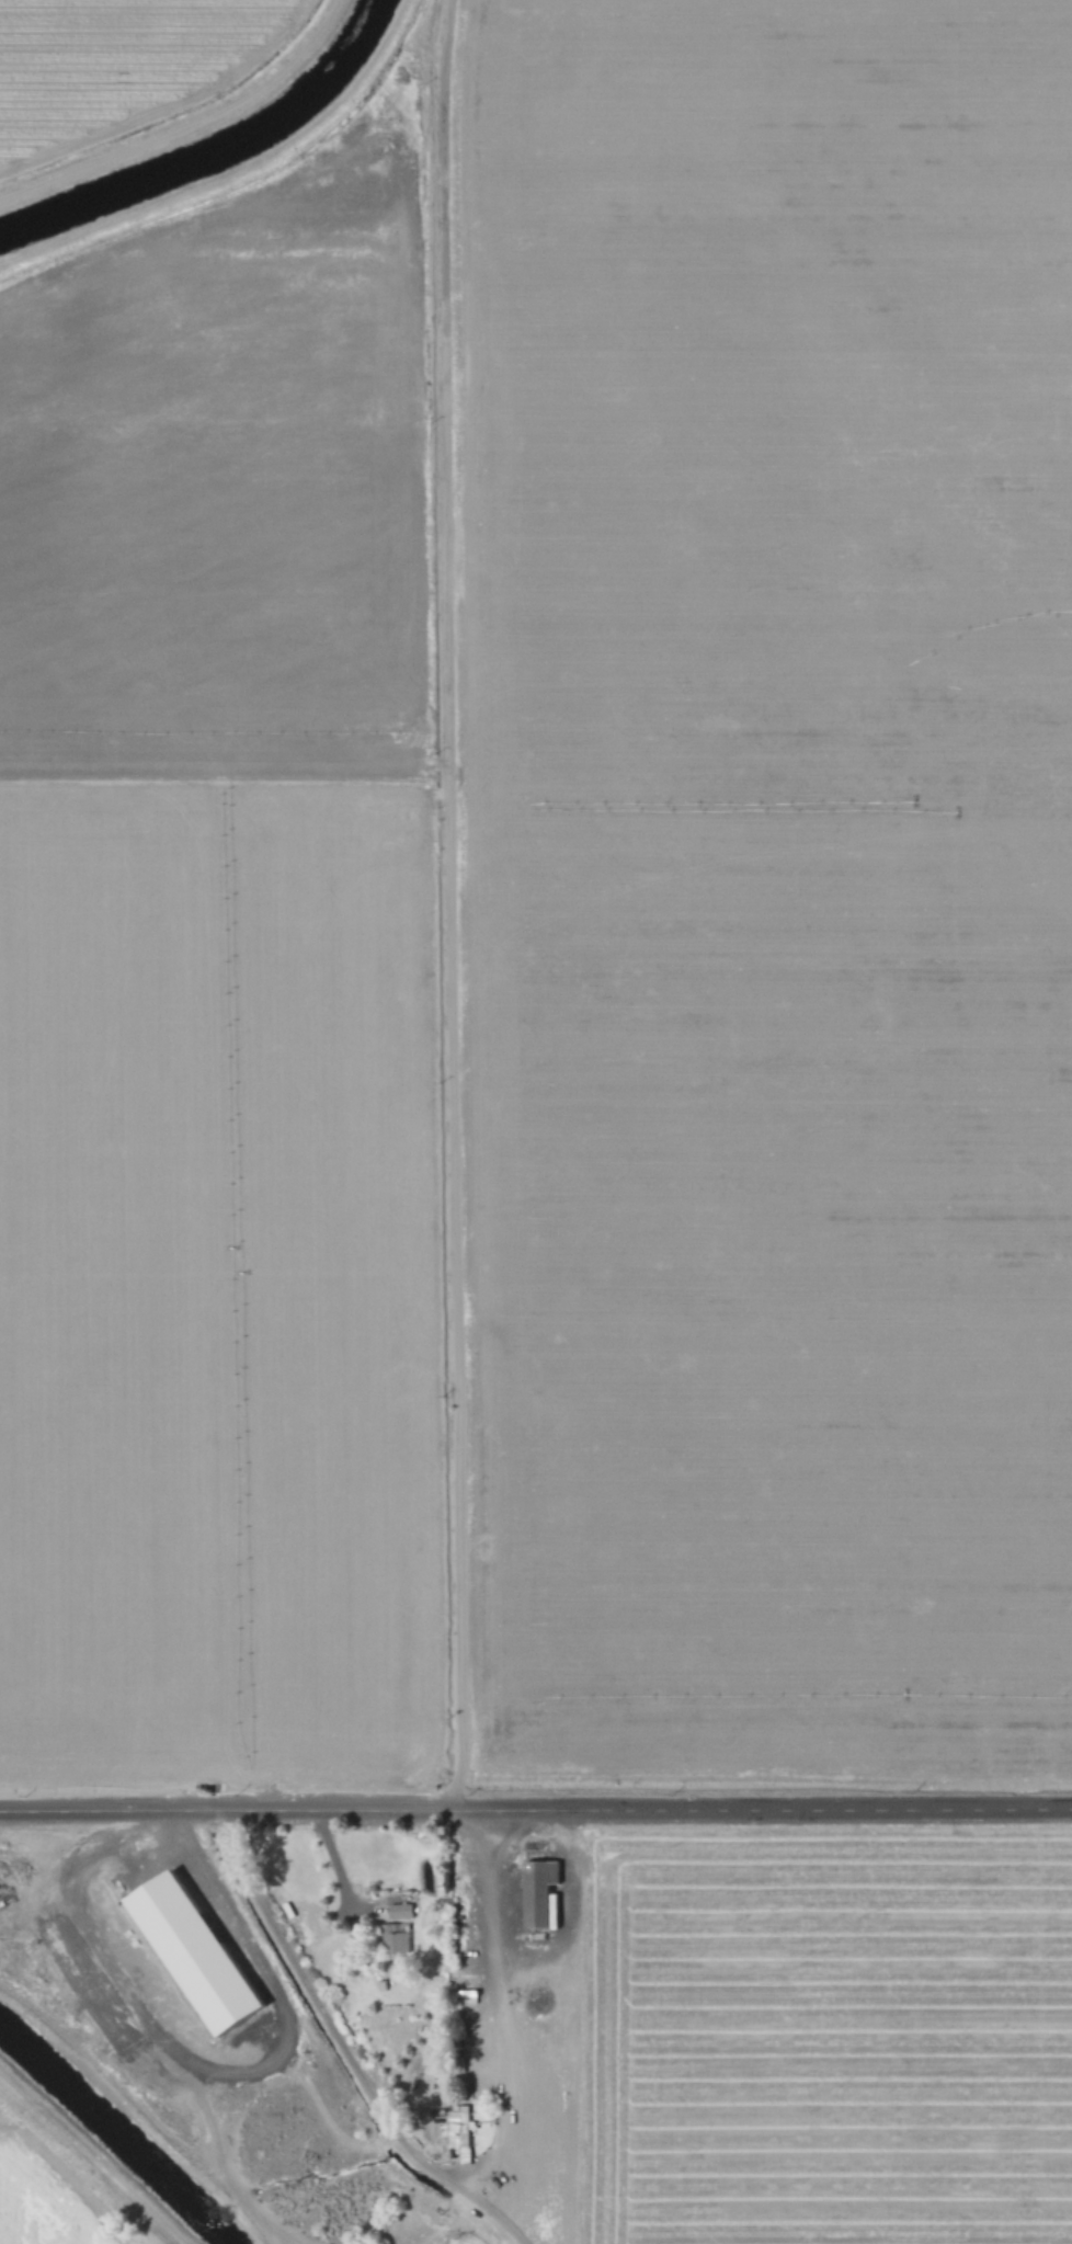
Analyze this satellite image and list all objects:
road: (535, 1810)
building: (537, 1891)
building: (397, 1911)
building: (392, 1940)
building: (192, 1953)
building: (246, 1962)
building: (122, 2028)
road: (342, 2048)
building: (457, 2126)

